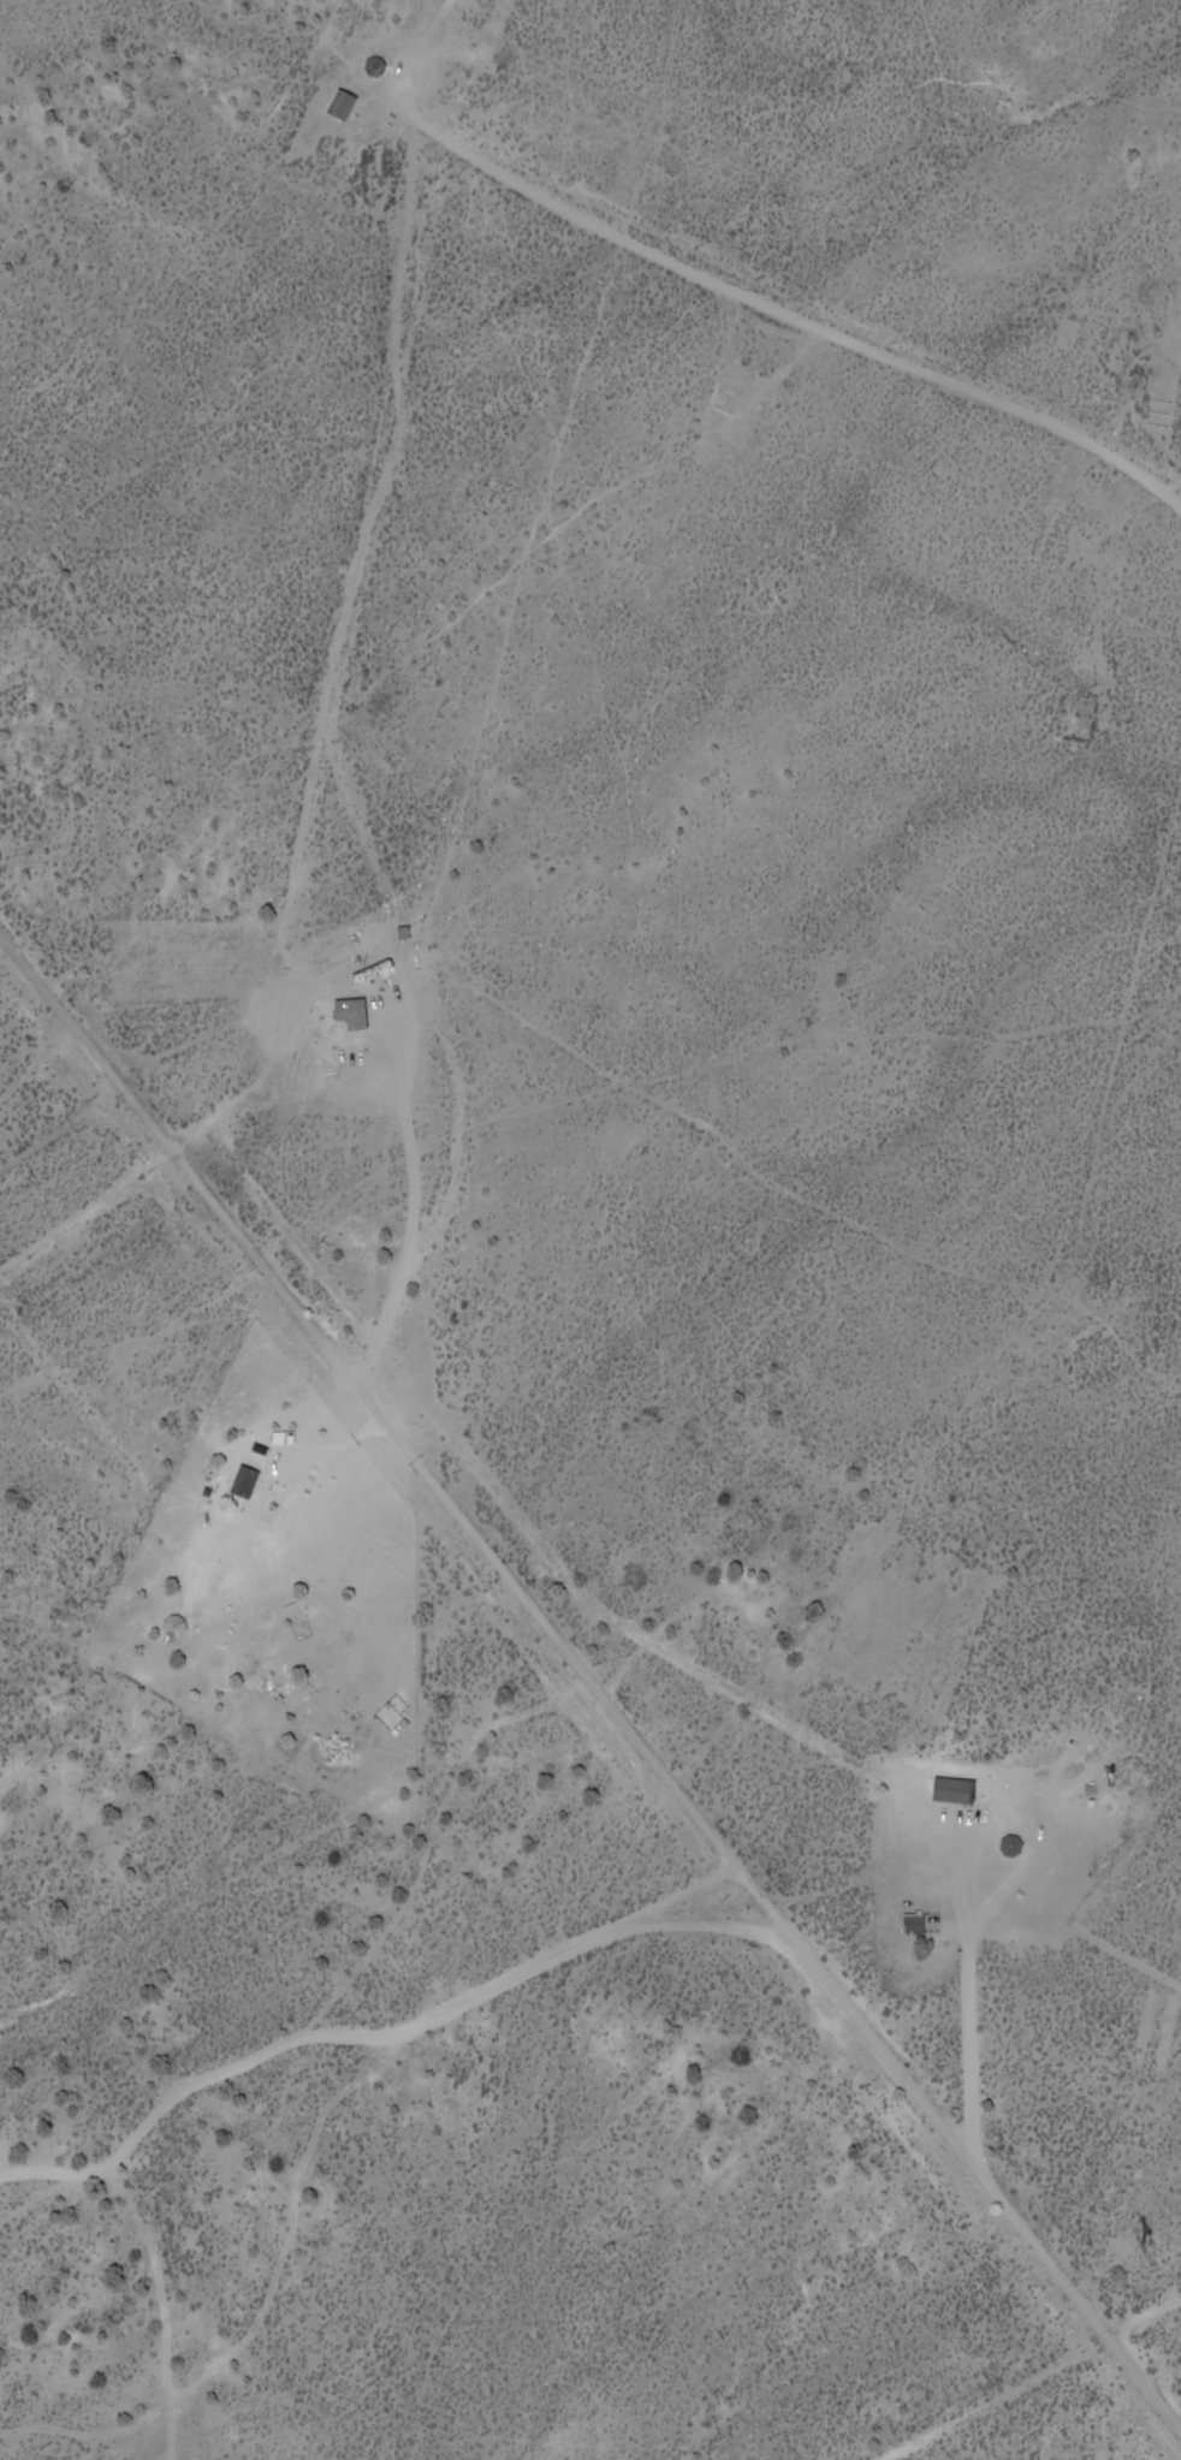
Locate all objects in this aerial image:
building: (343, 105)
road: (908, 367)
building: (1137, 384)
building: (245, 1481)
road: (593, 1697)
building: (955, 1784)
building: (1011, 1846)
building: (915, 1923)
power tower: (1151, 2242)
road: (1029, 2377)

